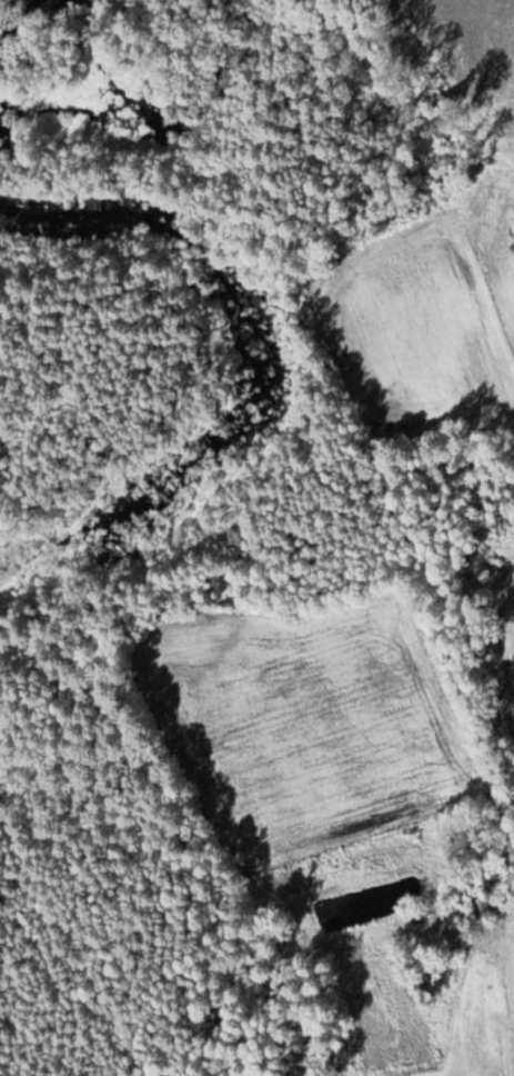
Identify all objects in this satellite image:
building: (485, 906)

